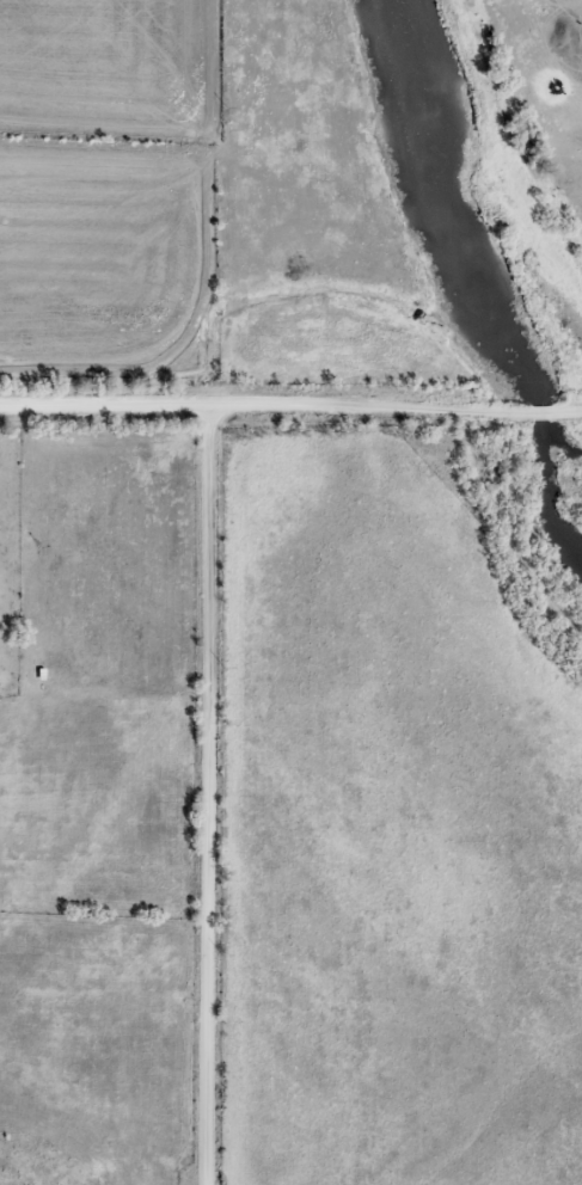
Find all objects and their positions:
road: (106, 410)
road: (357, 411)
road: (541, 416)
road: (207, 798)

